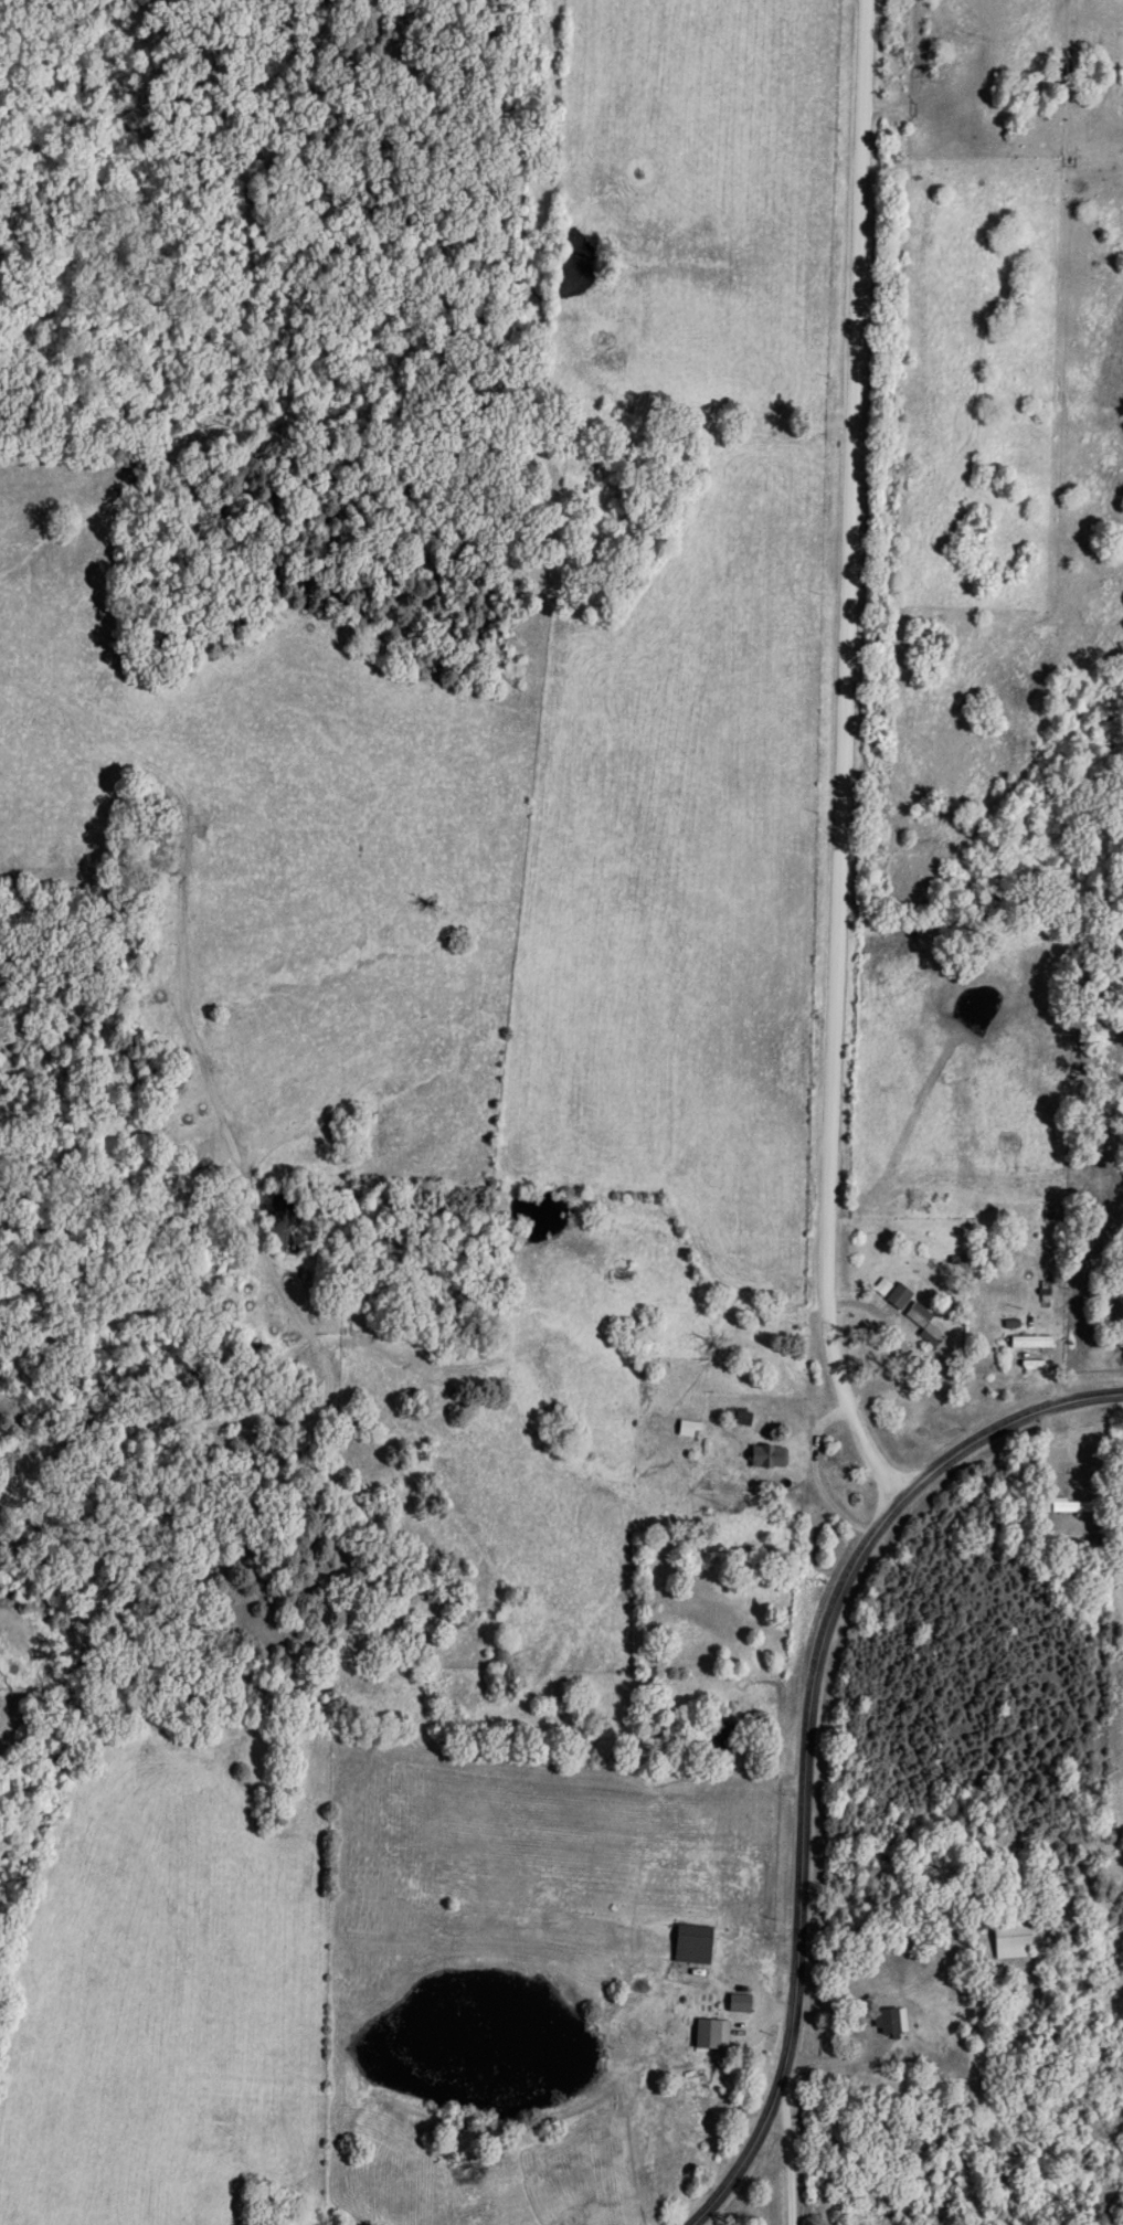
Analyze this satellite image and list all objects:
road: (841, 756)
building: (612, 1259)
building: (960, 1261)
building: (900, 1295)
building: (925, 1322)
building: (650, 1328)
building: (1034, 1328)
road: (320, 1406)
building: (770, 1455)
building: (1066, 1504)
road: (812, 1670)
building: (1014, 1940)
building: (695, 1942)
building: (738, 2005)
building: (891, 2022)
building: (702, 2098)
road: (791, 2164)
road: (734, 2171)

